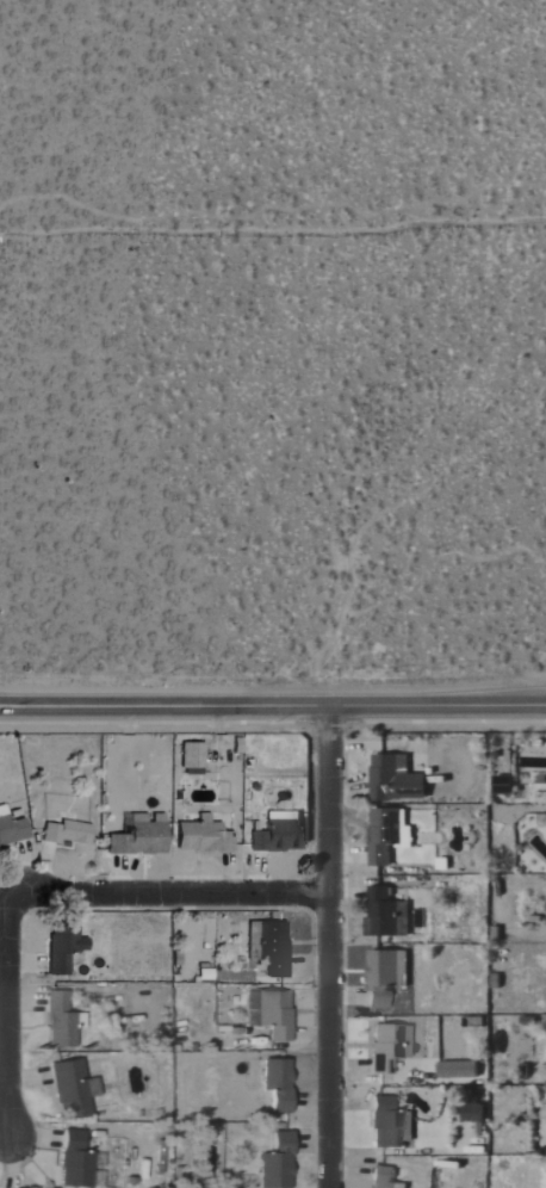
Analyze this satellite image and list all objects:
road: (273, 233)
road: (273, 703)
building: (193, 756)
building: (401, 778)
building: (12, 828)
building: (69, 834)
building: (280, 834)
building: (389, 835)
building: (204, 836)
building: (142, 839)
road: (154, 889)
building: (387, 915)
road: (322, 945)
building: (272, 947)
building: (64, 949)
building: (386, 976)
building: (271, 1014)
building: (61, 1022)
road: (5, 1023)
building: (393, 1047)
building: (460, 1070)
building: (279, 1084)
building: (72, 1090)
building: (474, 1114)
building: (391, 1125)
building: (76, 1162)
building: (279, 1163)
building: (385, 1177)

